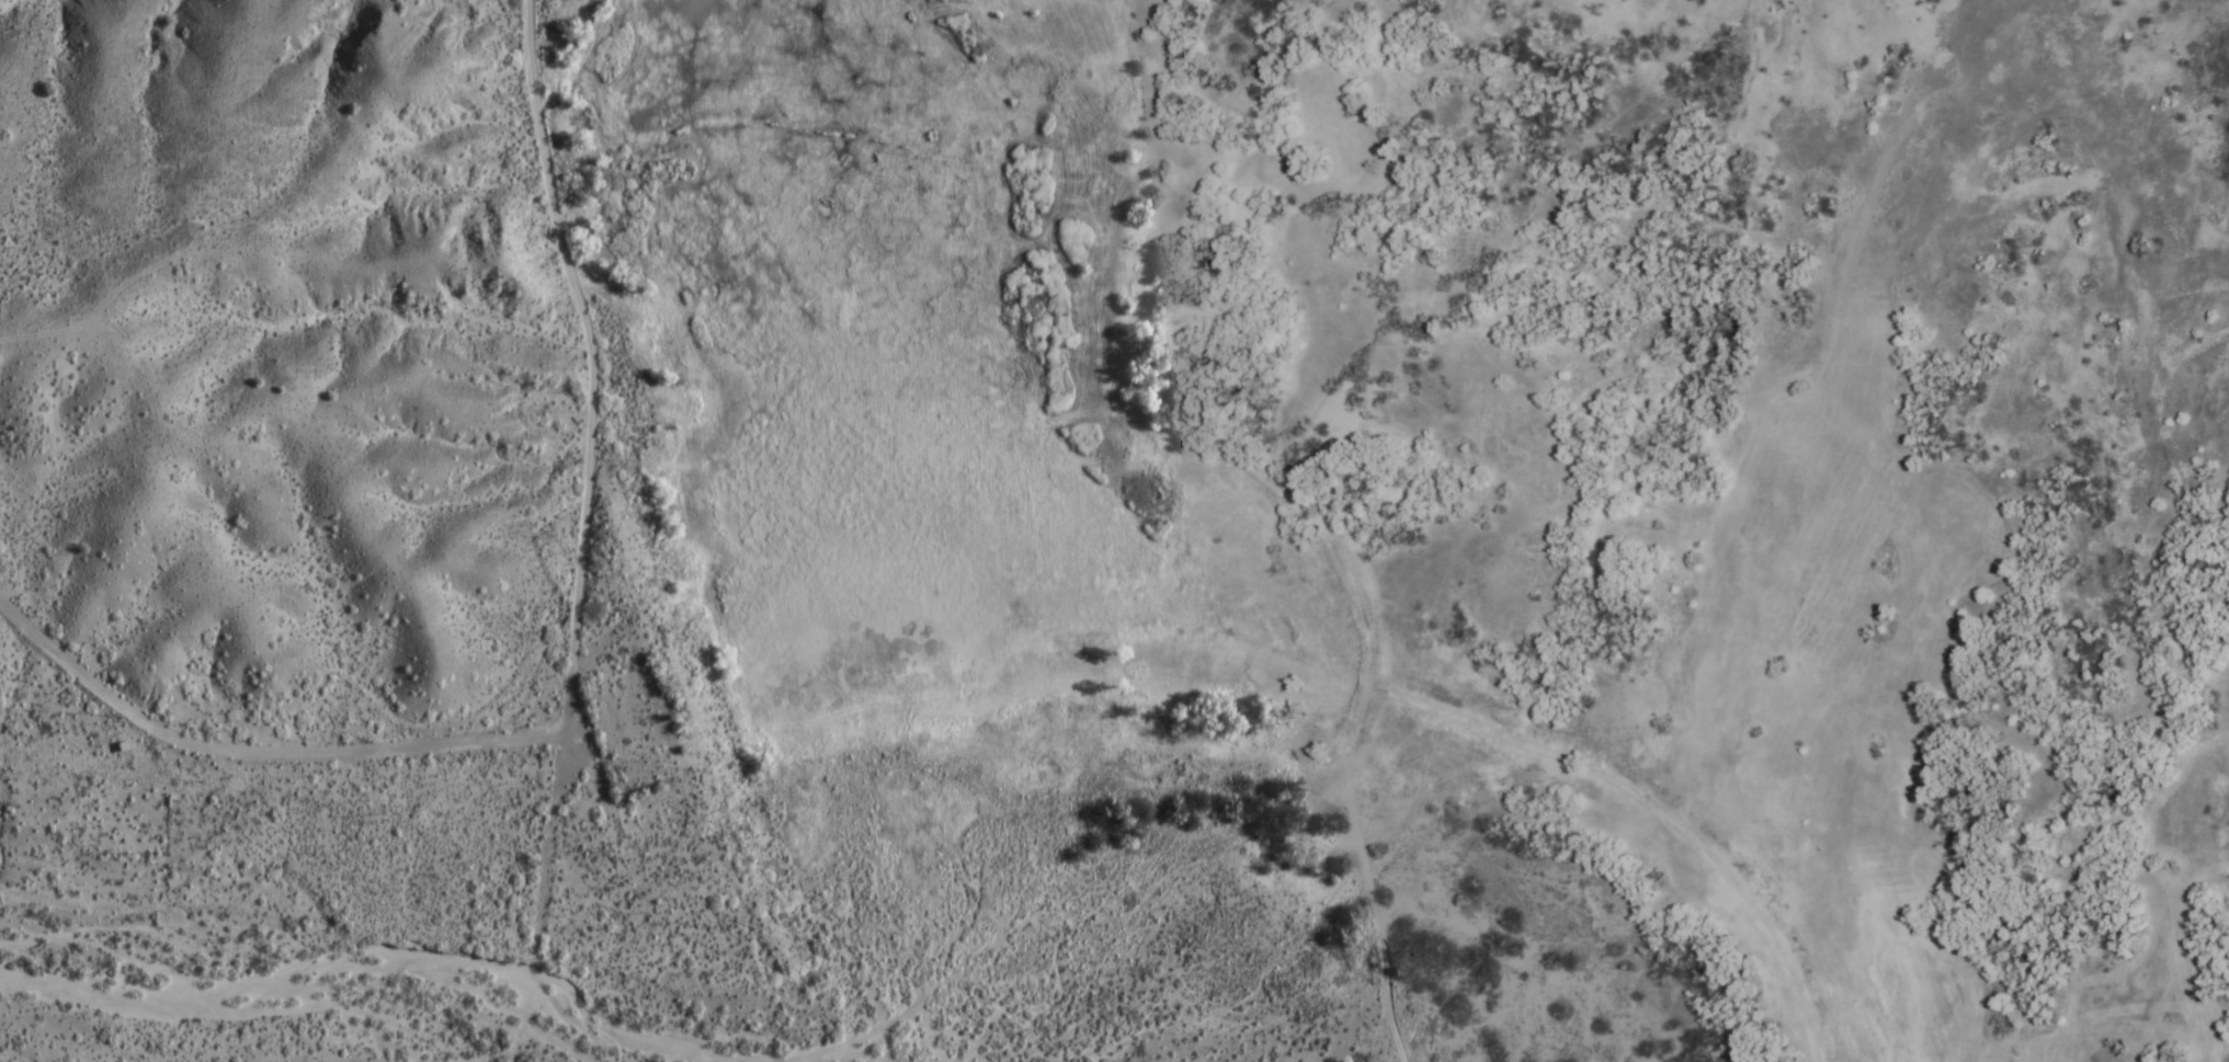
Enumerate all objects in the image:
road: (569, 672)
road: (1358, 726)
road: (538, 899)
river: (583, 1014)

